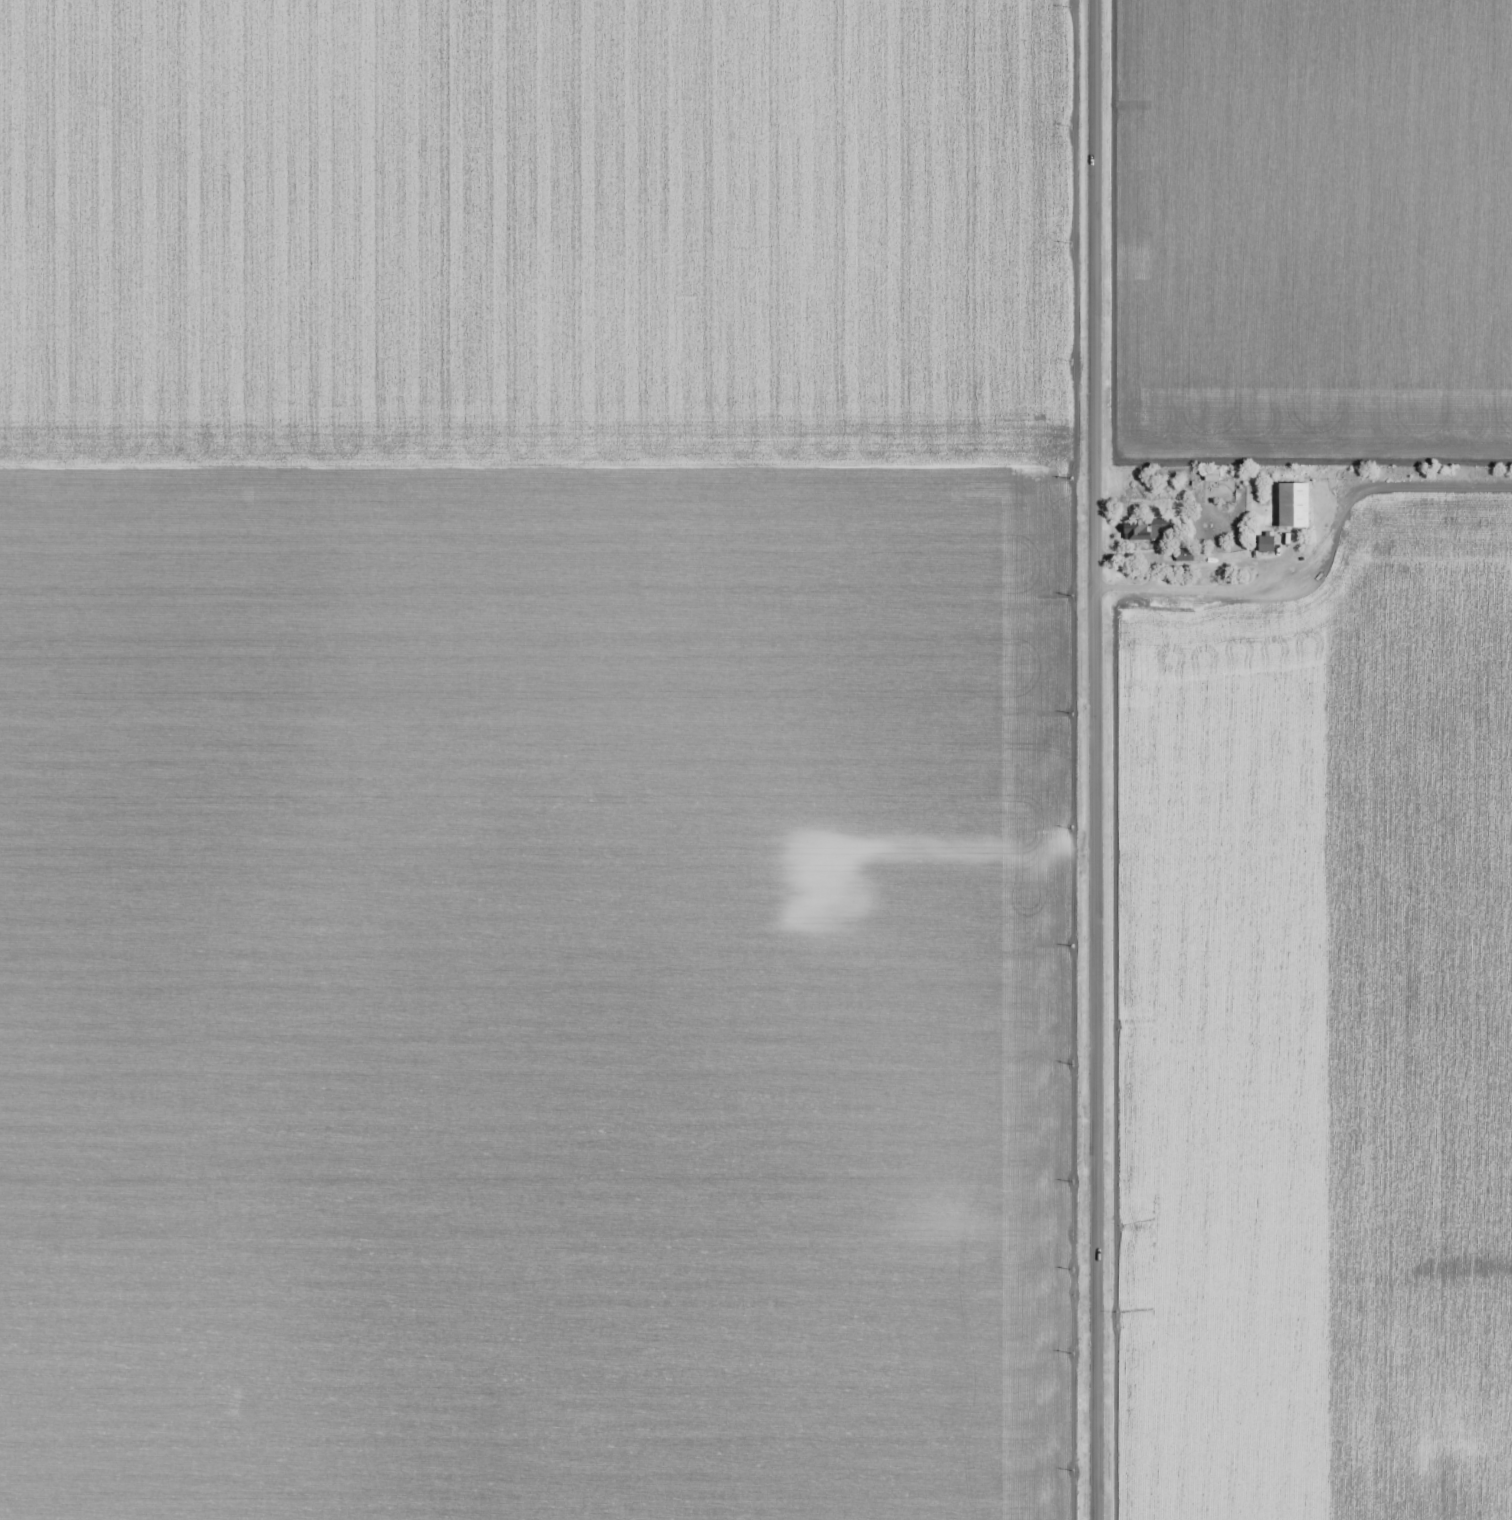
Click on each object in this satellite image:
building: (1212, 475)
building: (1294, 505)
building: (1143, 531)
building: (1266, 544)
building: (1189, 557)
road: (1097, 760)

